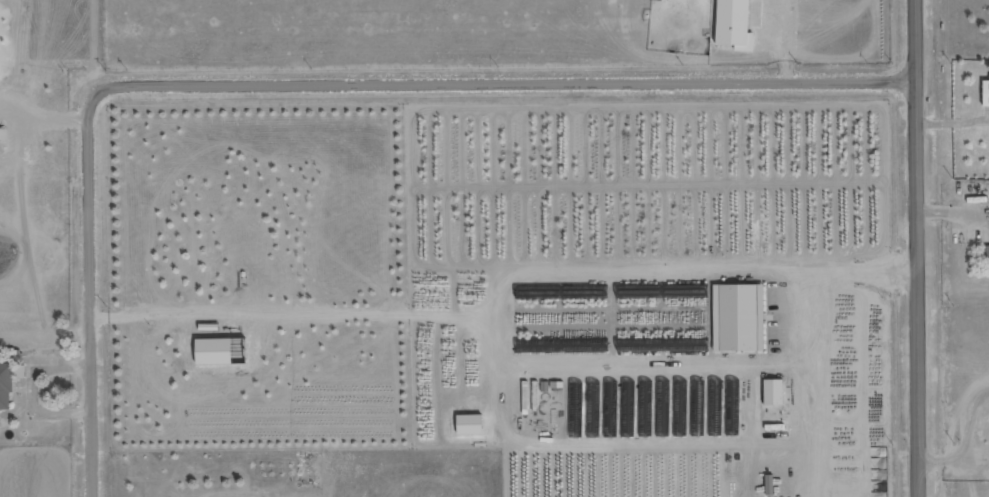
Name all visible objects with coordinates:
building: (737, 24)
road: (305, 82)
building: (986, 93)
road: (918, 248)
building: (988, 254)
building: (740, 318)
building: (9, 382)
building: (775, 393)
building: (770, 484)

